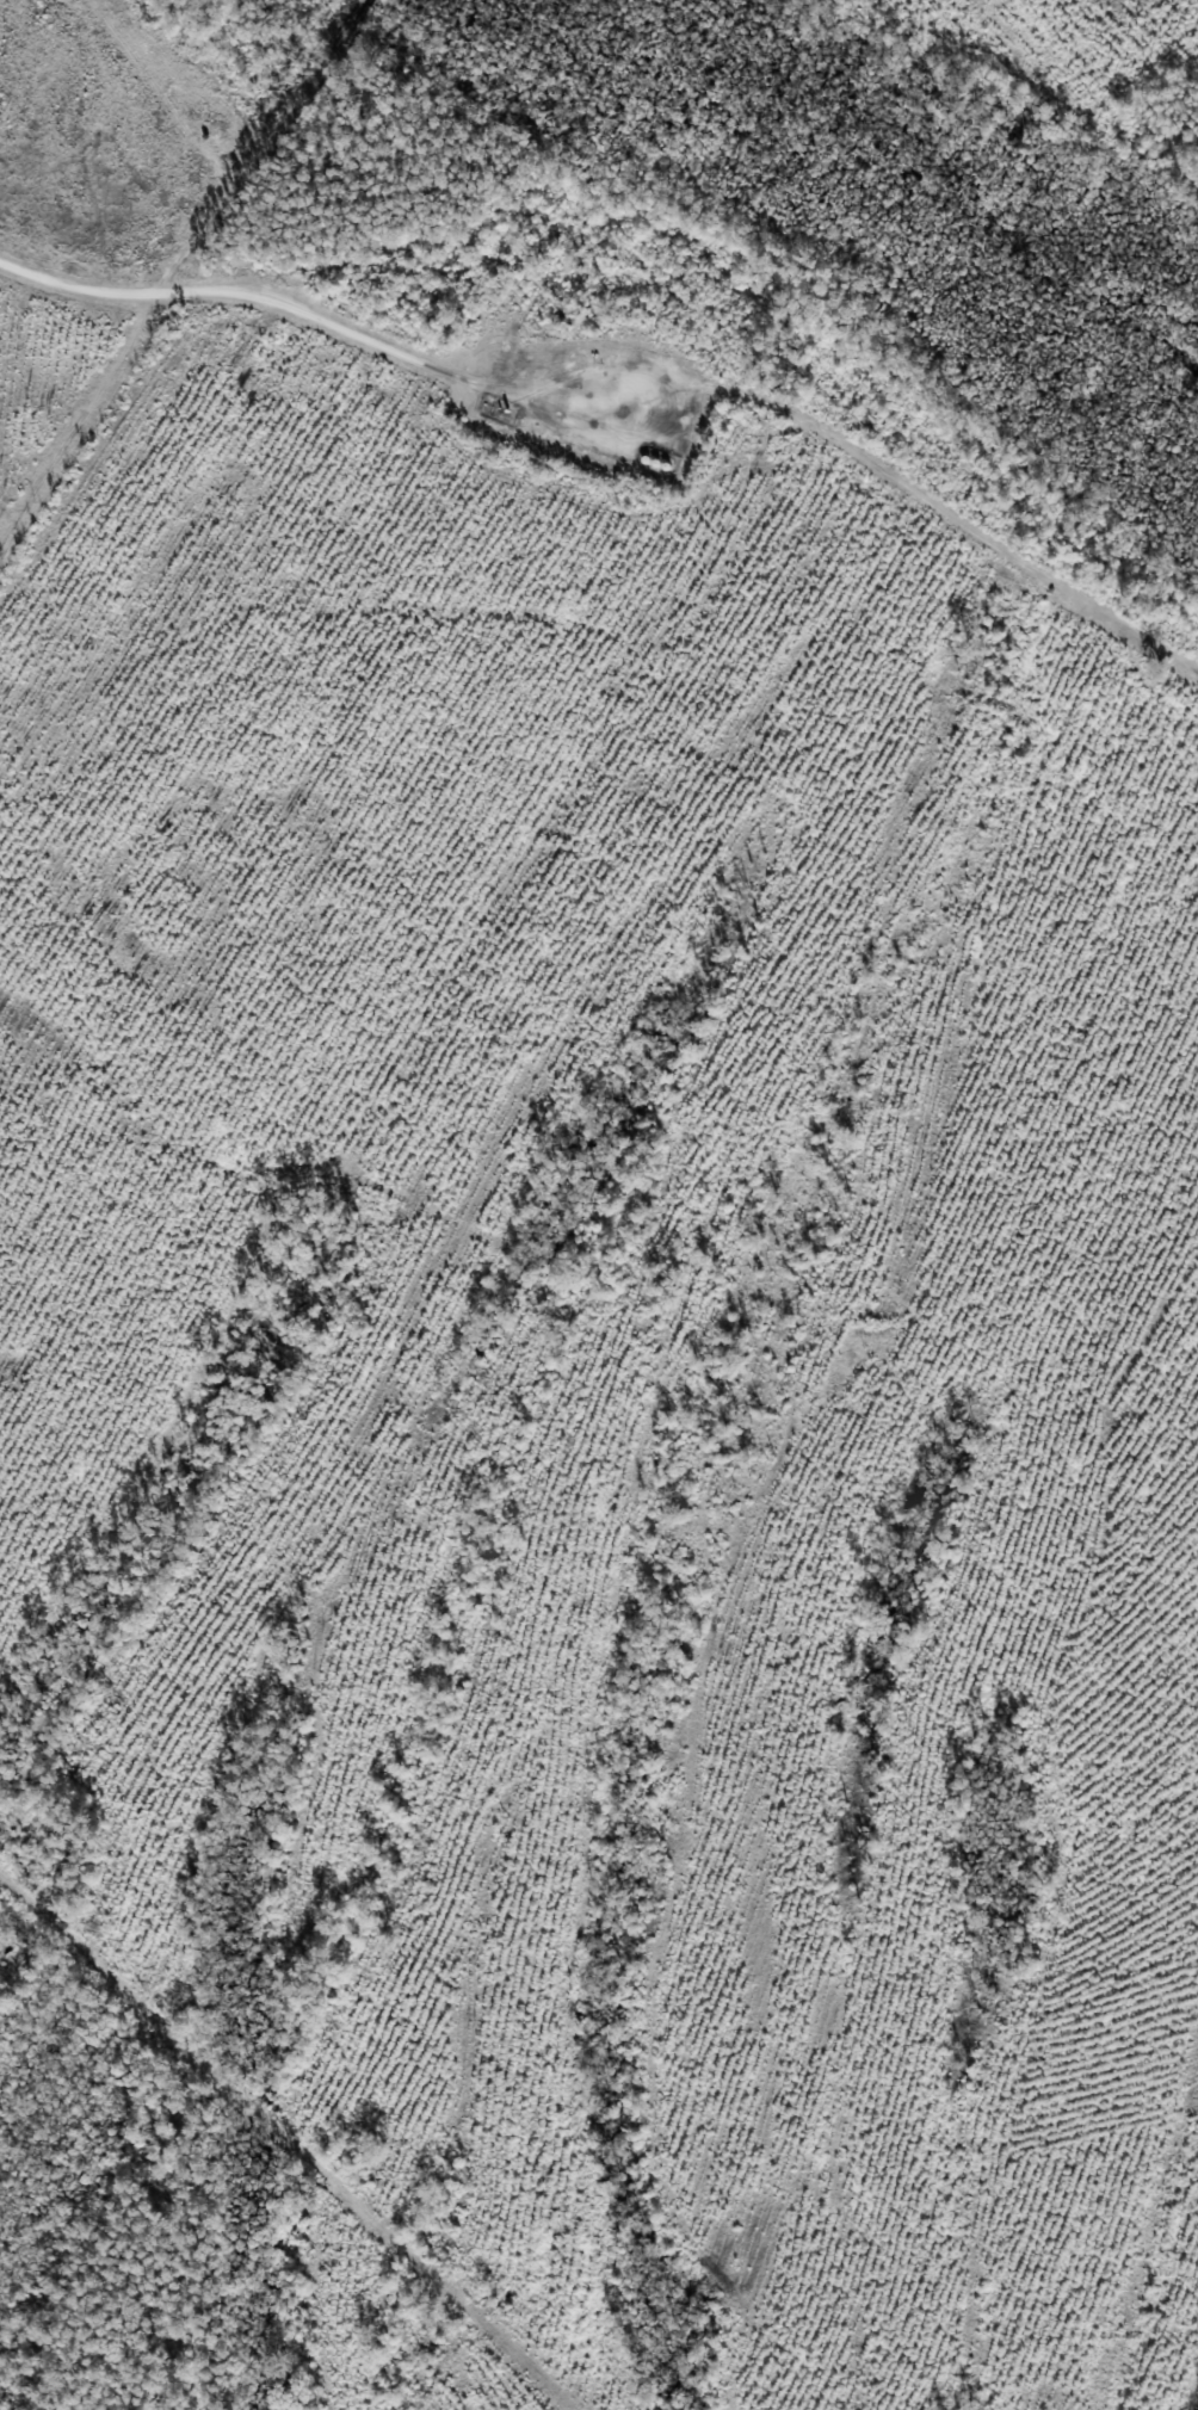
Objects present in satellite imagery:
road: (295, 2159)

